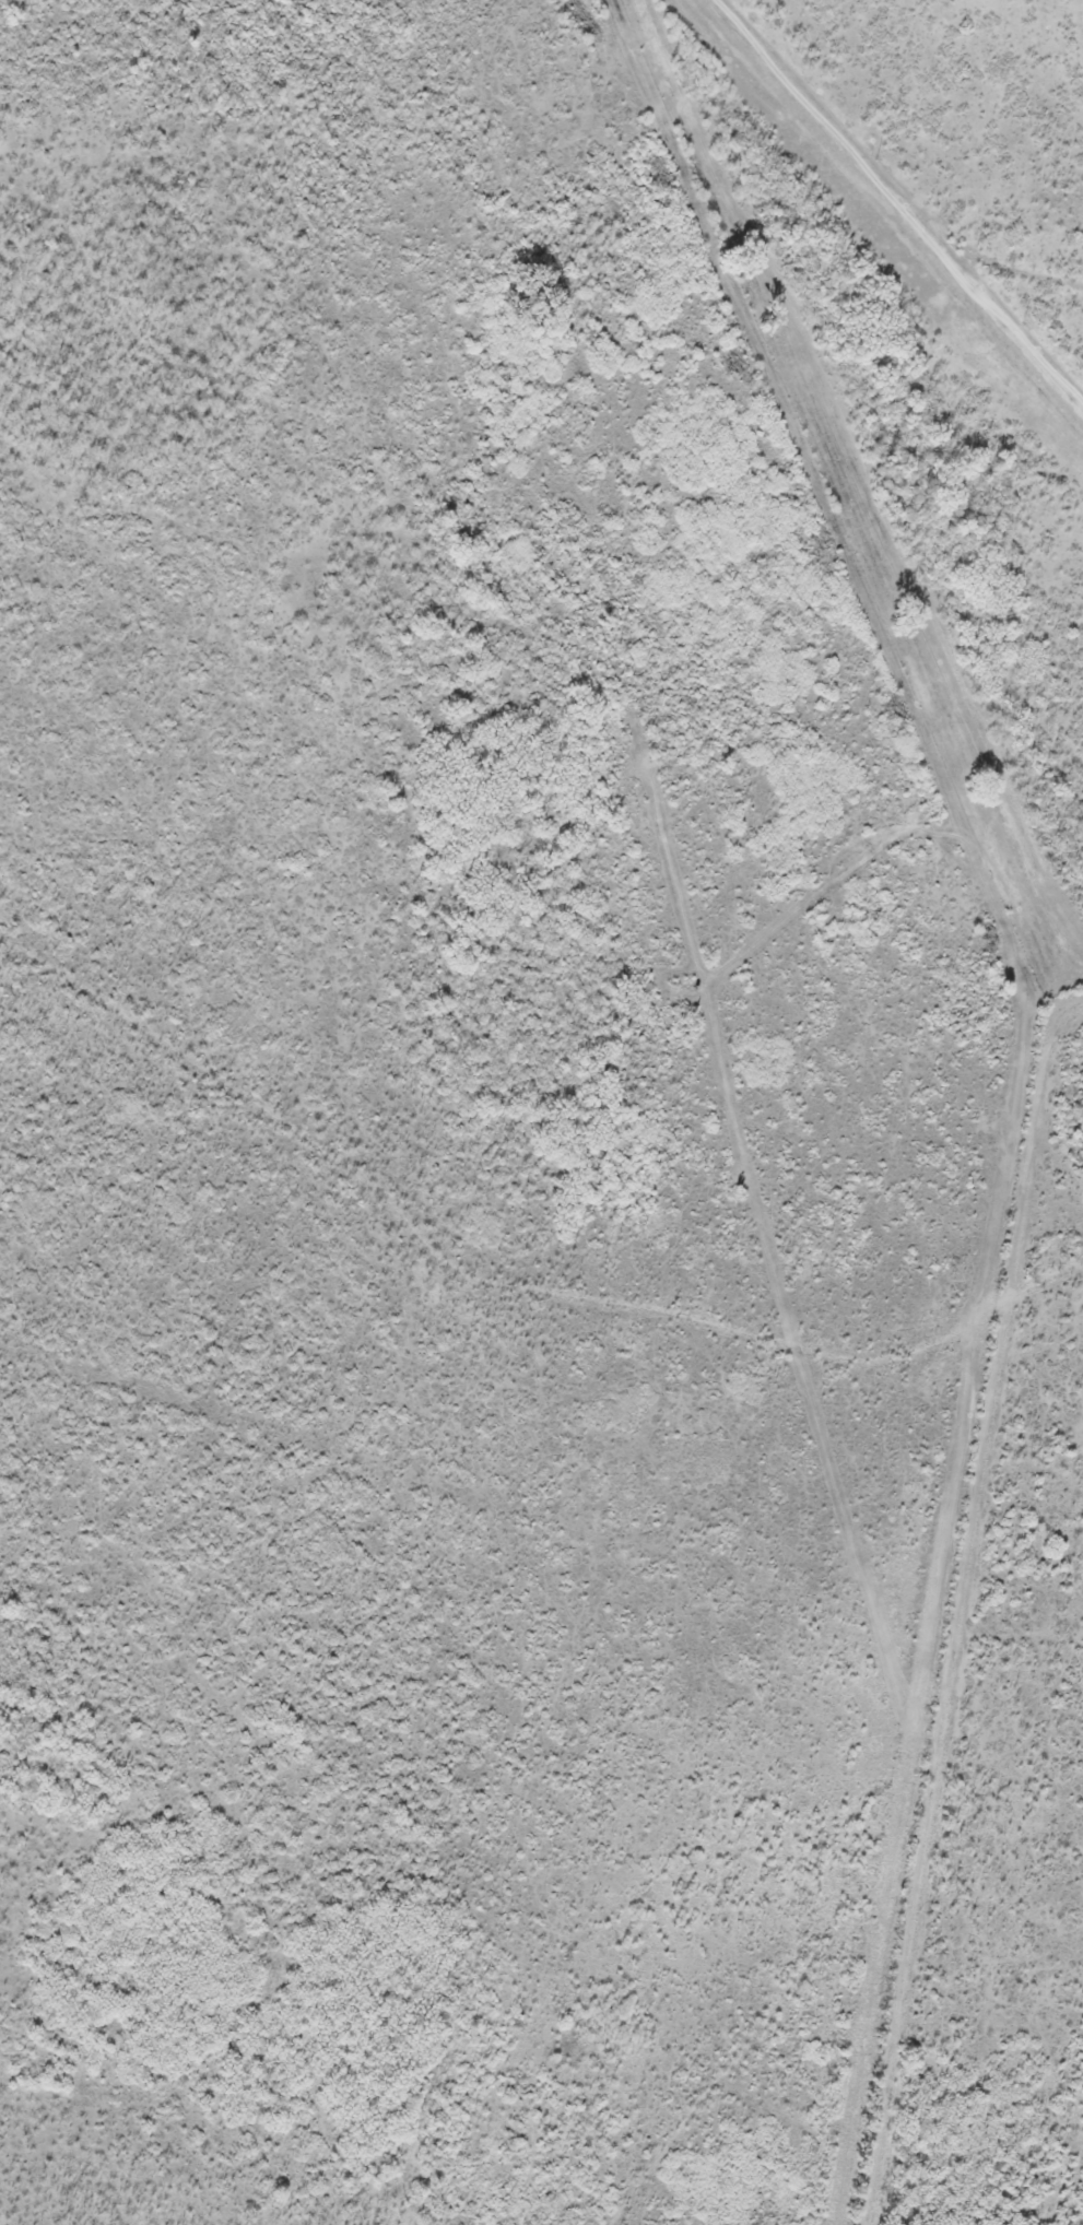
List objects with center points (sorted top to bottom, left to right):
road: (870, 447)

